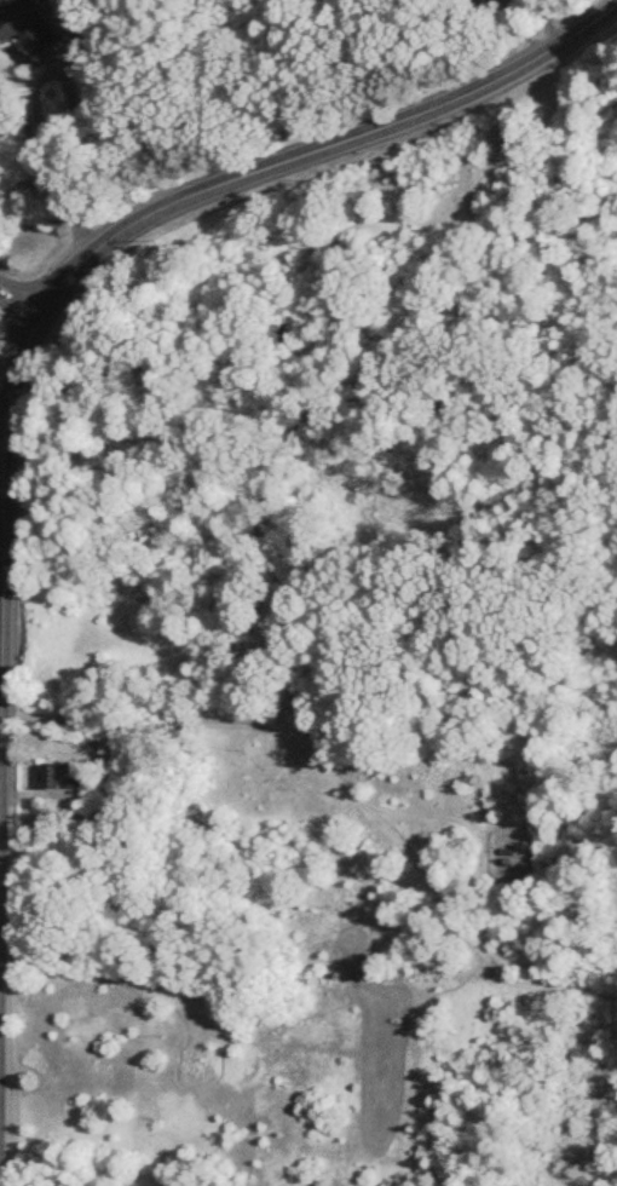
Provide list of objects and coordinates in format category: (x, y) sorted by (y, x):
road: (546, 19)
building: (30, 27)
road: (57, 167)
road: (19, 304)
road: (11, 415)
road: (4, 601)
road: (4, 710)
park: (359, 710)
building: (63, 777)
road: (2, 781)
road: (340, 782)
road: (1, 945)
road: (1, 1073)

